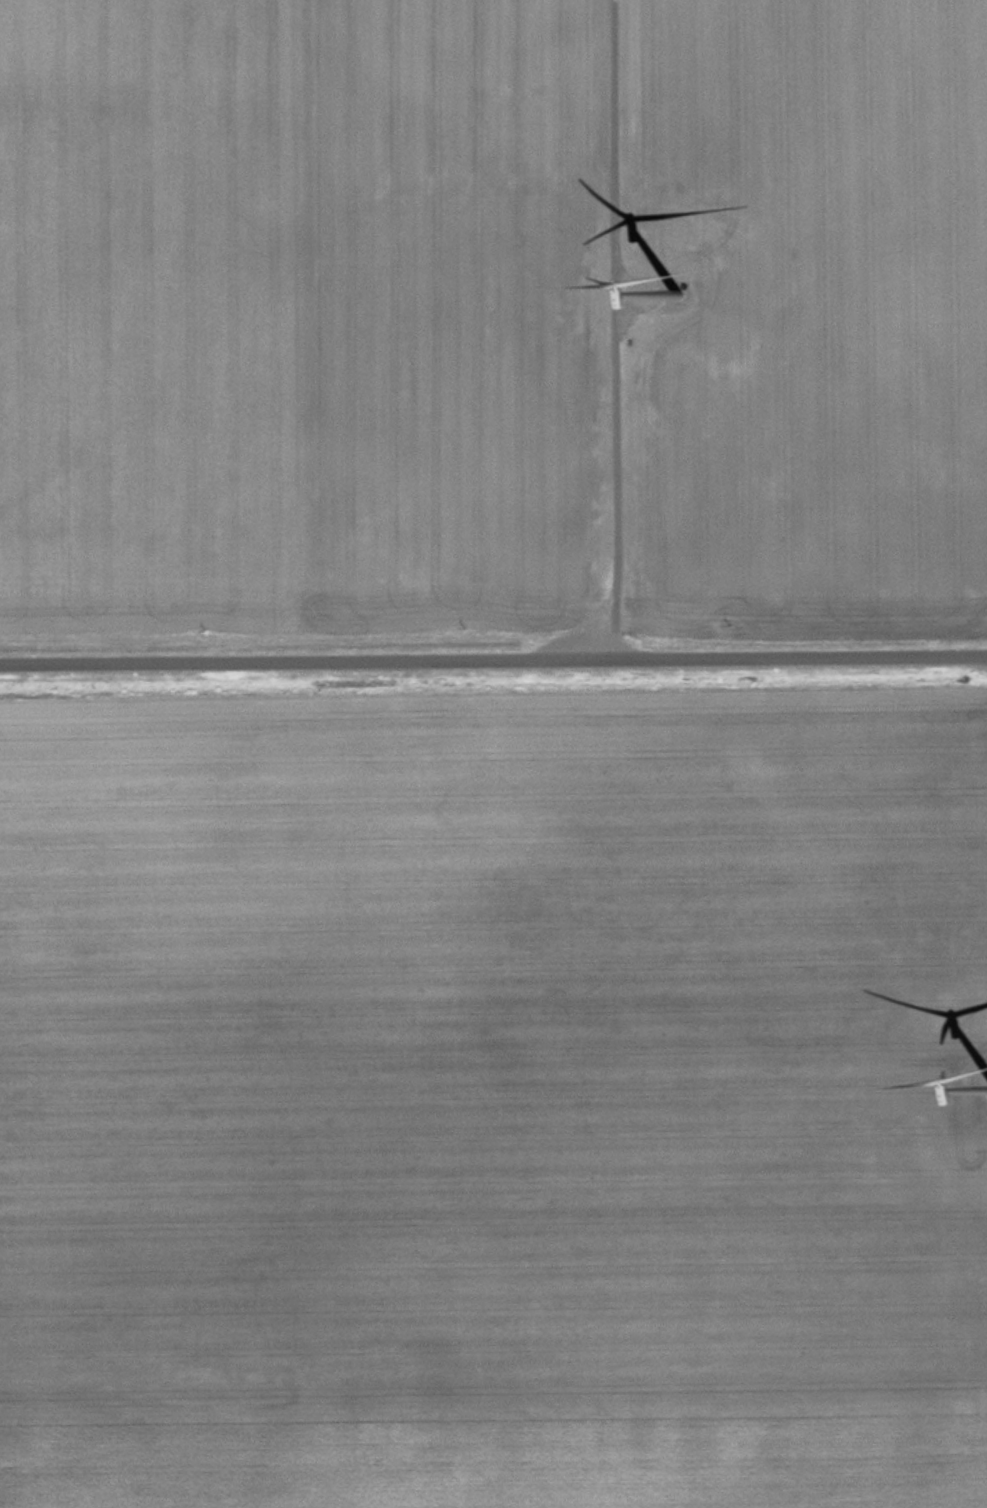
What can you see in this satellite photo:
wind turbine: (670, 287)
road: (616, 328)
road: (493, 658)
wind turbine: (976, 1091)

